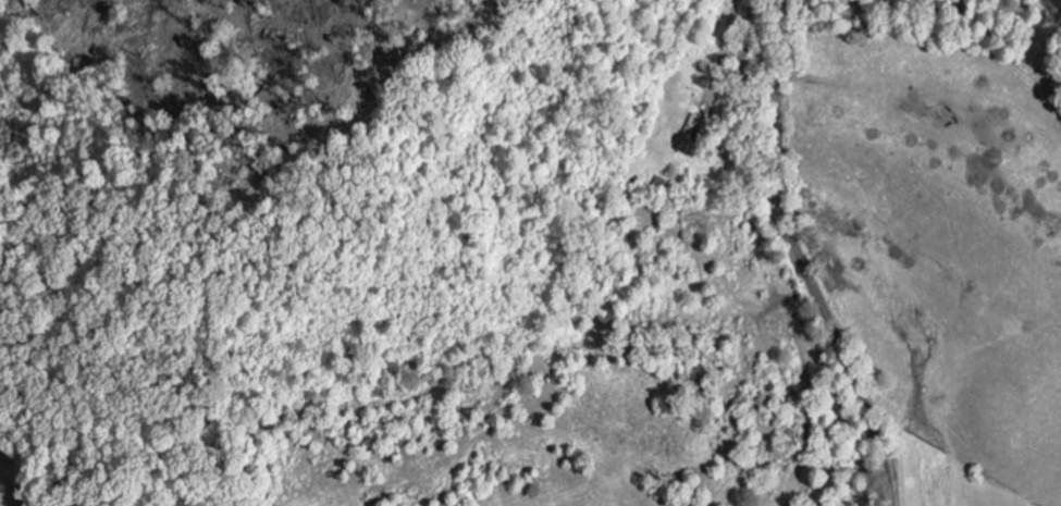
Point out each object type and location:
road: (800, 258)

